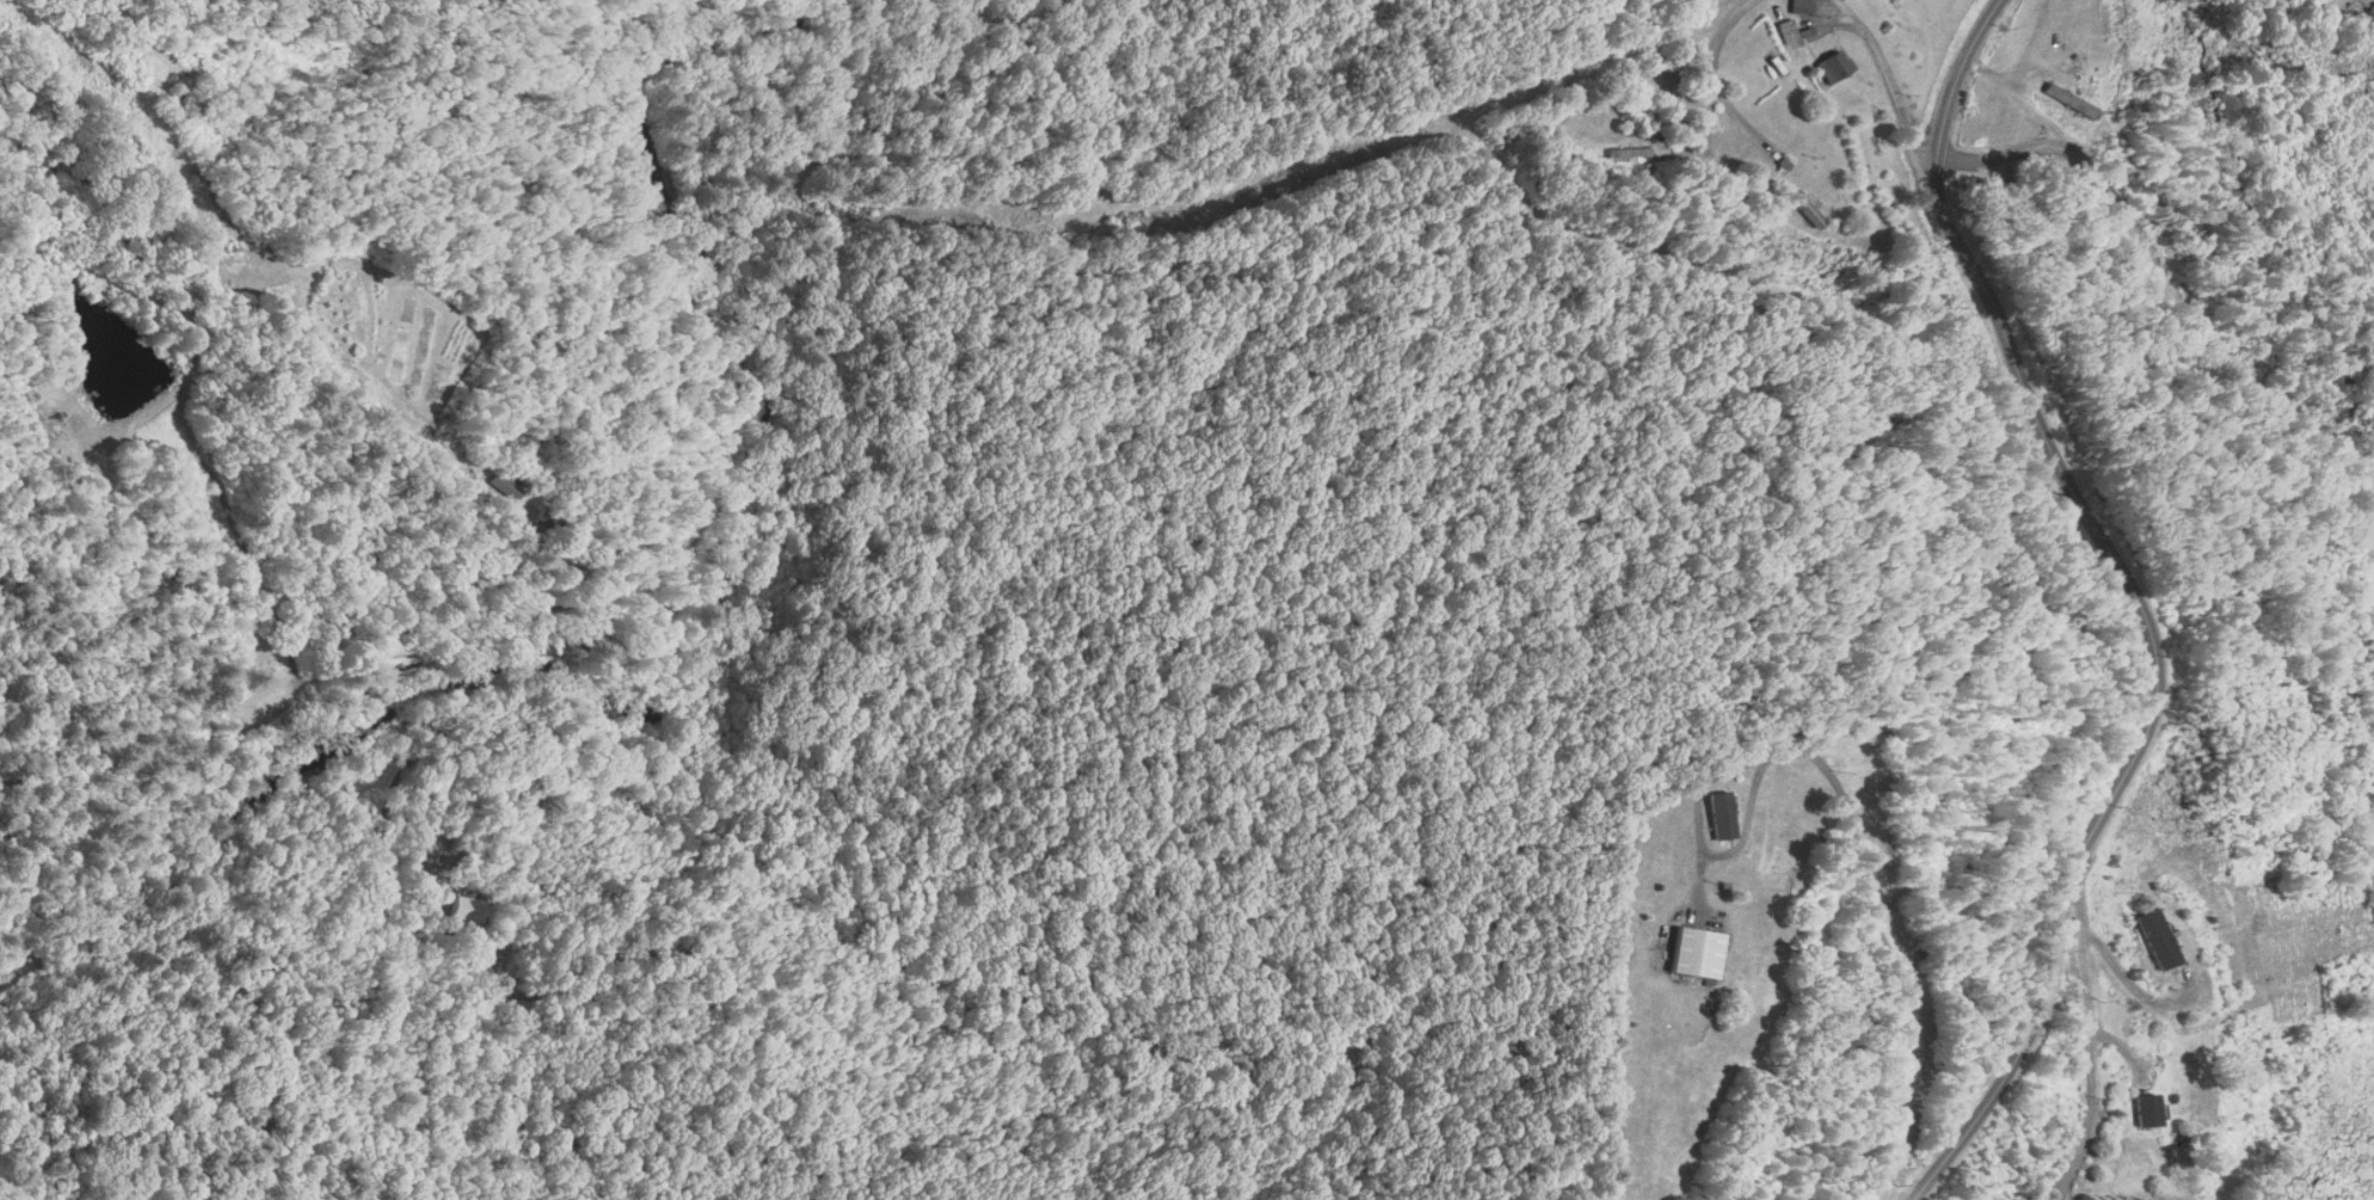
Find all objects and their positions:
building: (1797, 6)
building: (2356, 20)
building: (1785, 32)
road: (2025, 64)
building: (1829, 67)
road: (1883, 86)
road: (1710, 101)
road: (1745, 121)
building: (1804, 208)
road: (2159, 282)
building: (503, 486)
road: (2138, 603)
building: (1717, 814)
building: (2160, 939)
road: (1886, 947)
building: (1693, 952)
road: (762, 981)
road: (2116, 990)
road: (2071, 1030)
building: (2146, 1109)

